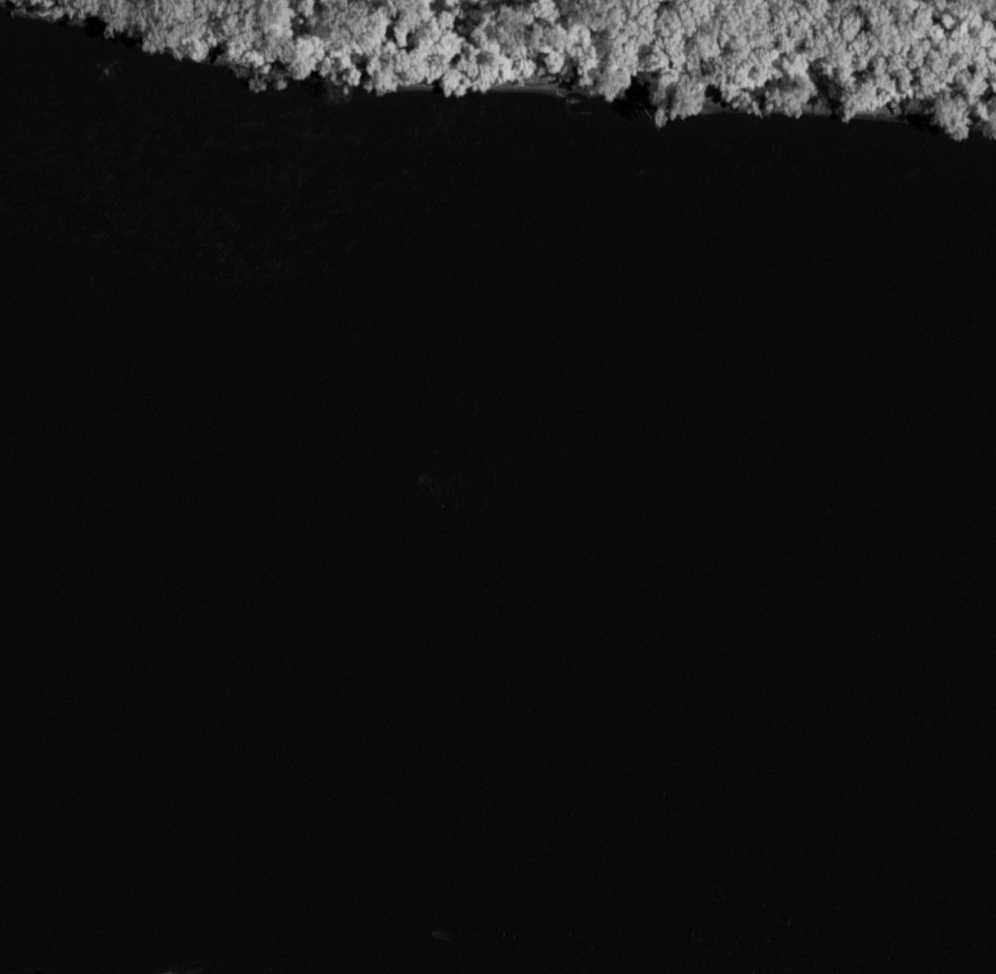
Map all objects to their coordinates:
river: (498, 601)

